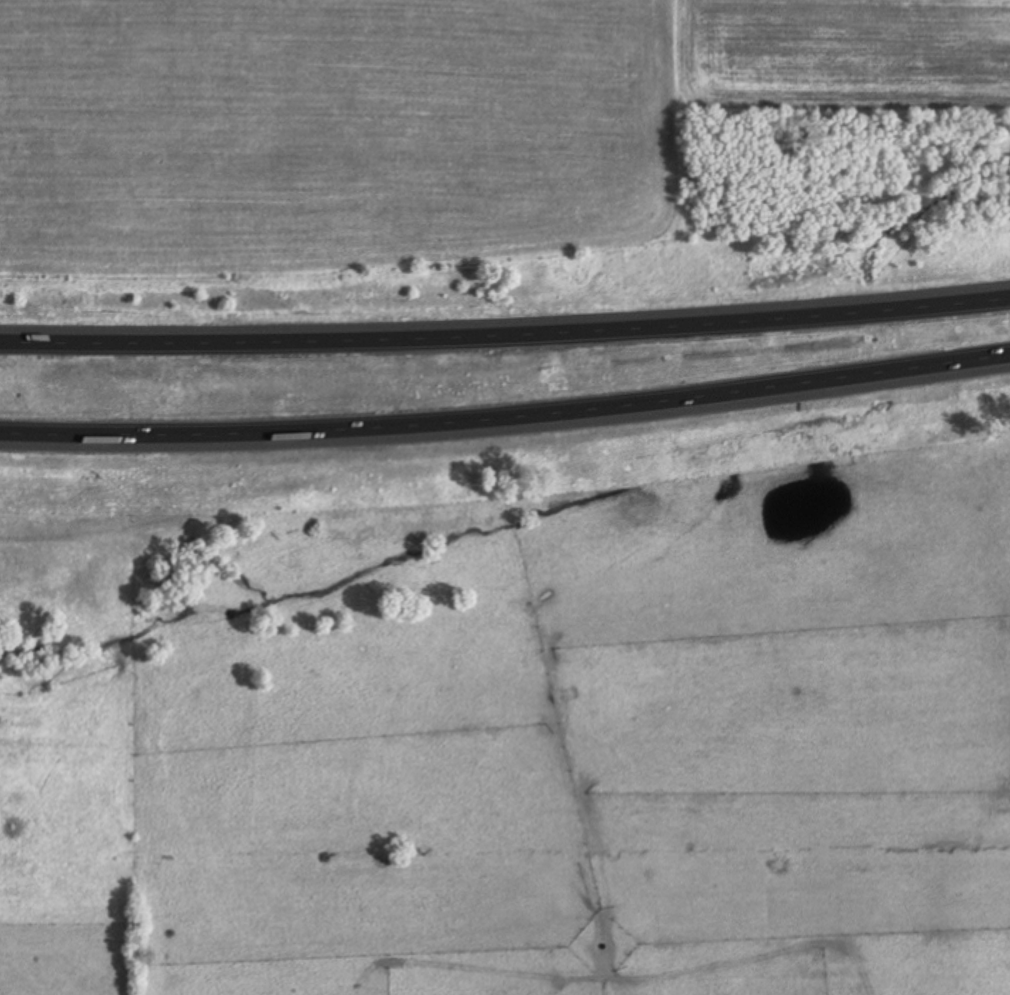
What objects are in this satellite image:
crop: (425, 120)
road: (505, 335)
road: (506, 418)

